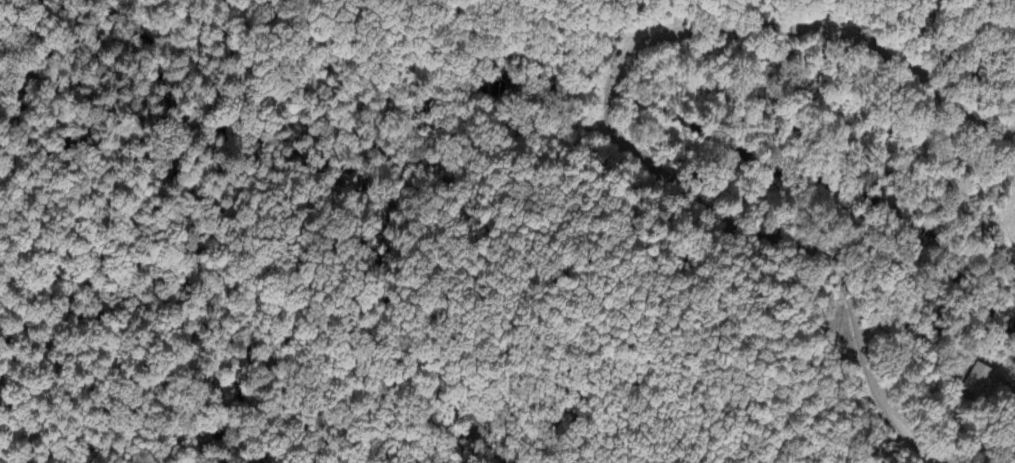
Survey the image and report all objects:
road: (610, 120)
building: (979, 380)

